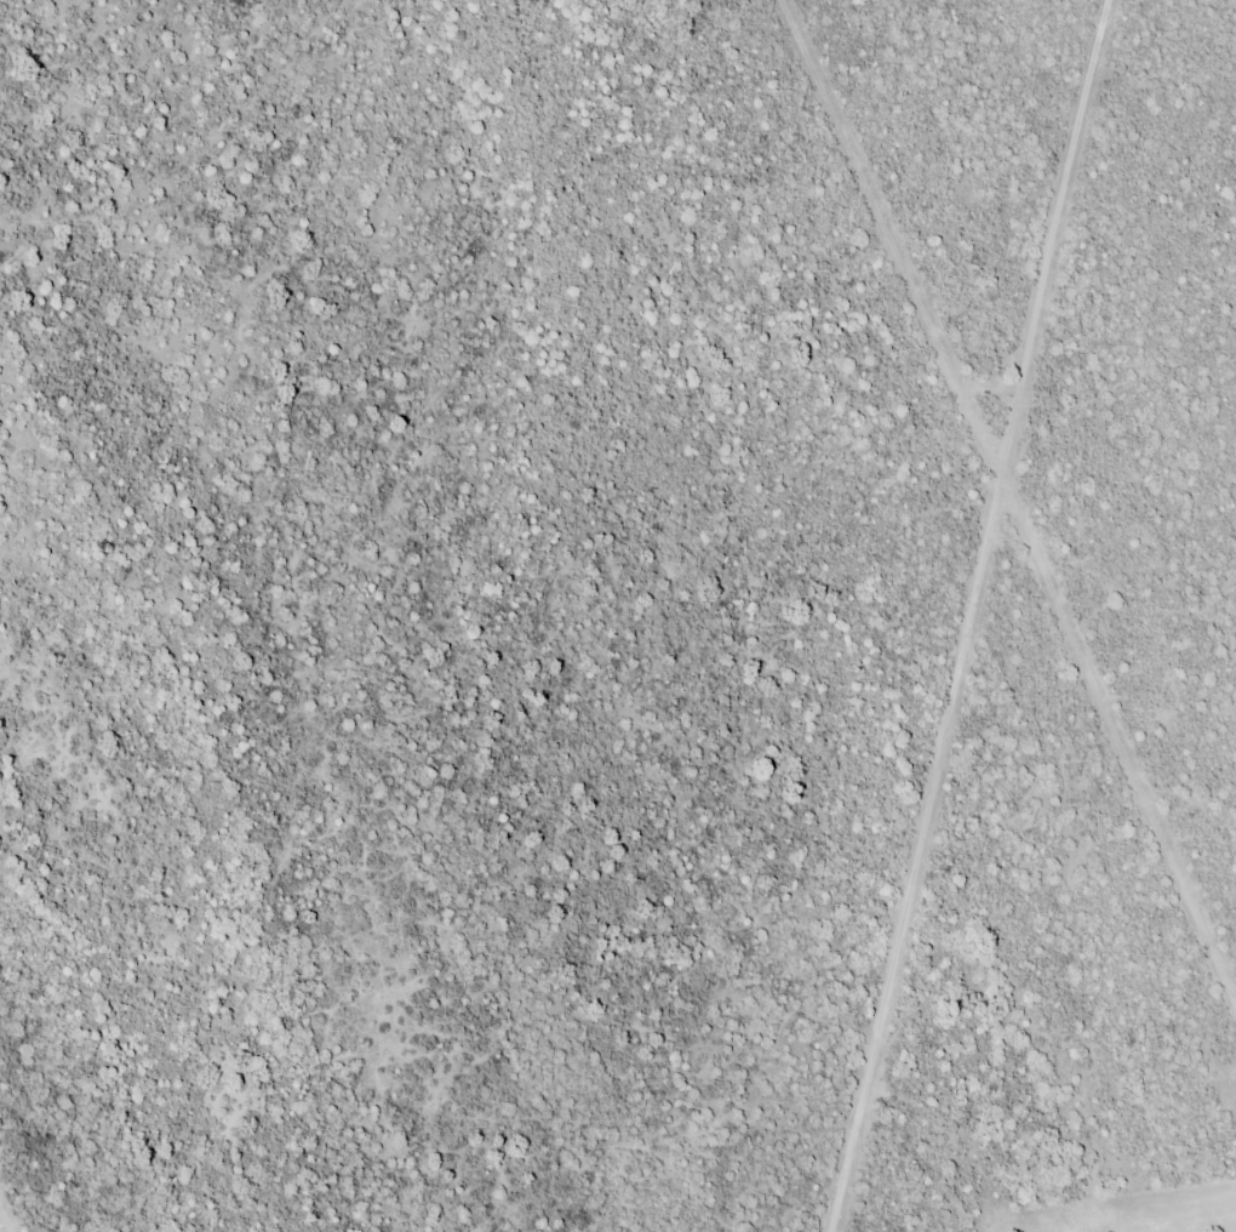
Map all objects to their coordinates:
road: (968, 615)

